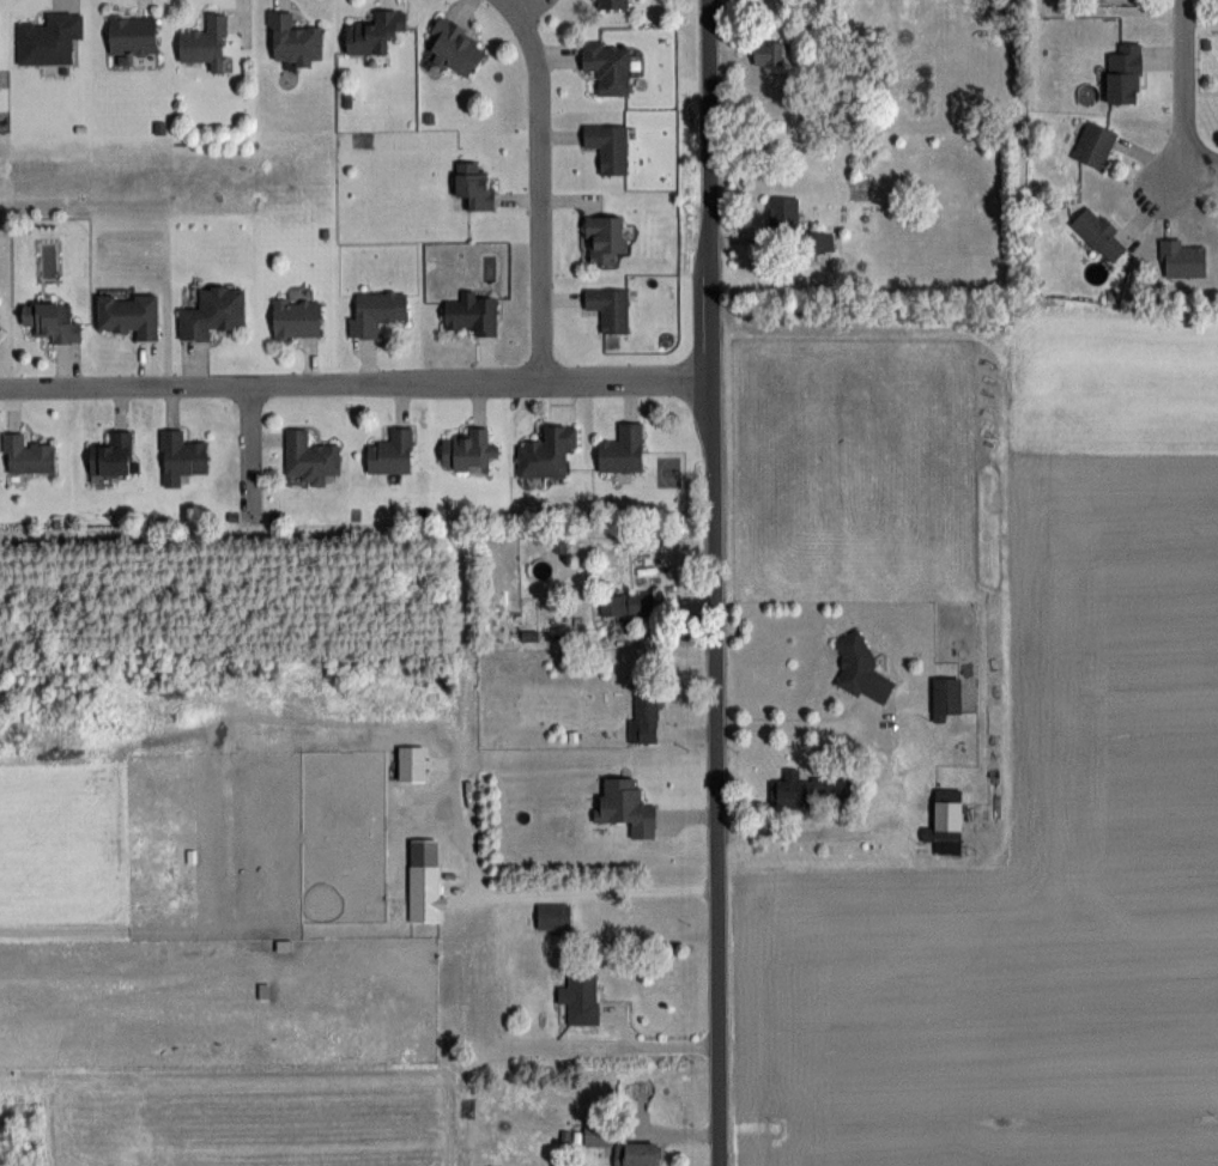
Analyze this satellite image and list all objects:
building: (611, 4)
building: (374, 31)
building: (132, 35)
building: (48, 38)
building: (293, 38)
building: (205, 43)
building: (455, 45)
building: (768, 51)
building: (607, 66)
building: (1123, 73)
road: (1188, 85)
building: (1093, 144)
building: (607, 146)
road: (1202, 169)
building: (473, 186)
road: (538, 186)
building: (782, 211)
building: (1099, 232)
building: (604, 238)
building: (817, 241)
building: (1181, 259)
building: (610, 308)
building: (212, 311)
building: (376, 311)
building: (472, 312)
building: (128, 314)
building: (296, 318)
building: (50, 322)
road: (355, 381)
building: (622, 449)
road: (249, 450)
building: (467, 450)
building: (390, 453)
building: (546, 453)
building: (111, 454)
building: (26, 455)
building: (181, 456)
building: (309, 457)
road: (711, 583)
building: (625, 603)
building: (860, 669)
building: (945, 697)
building: (642, 717)
road: (787, 729)
building: (792, 791)
building: (625, 806)
building: (945, 822)
crop: (1037, 840)
building: (452, 881)
road: (574, 889)
building: (552, 915)
building: (452, 916)
building: (580, 995)
building: (485, 1007)
road: (666, 1046)
building: (636, 1154)

